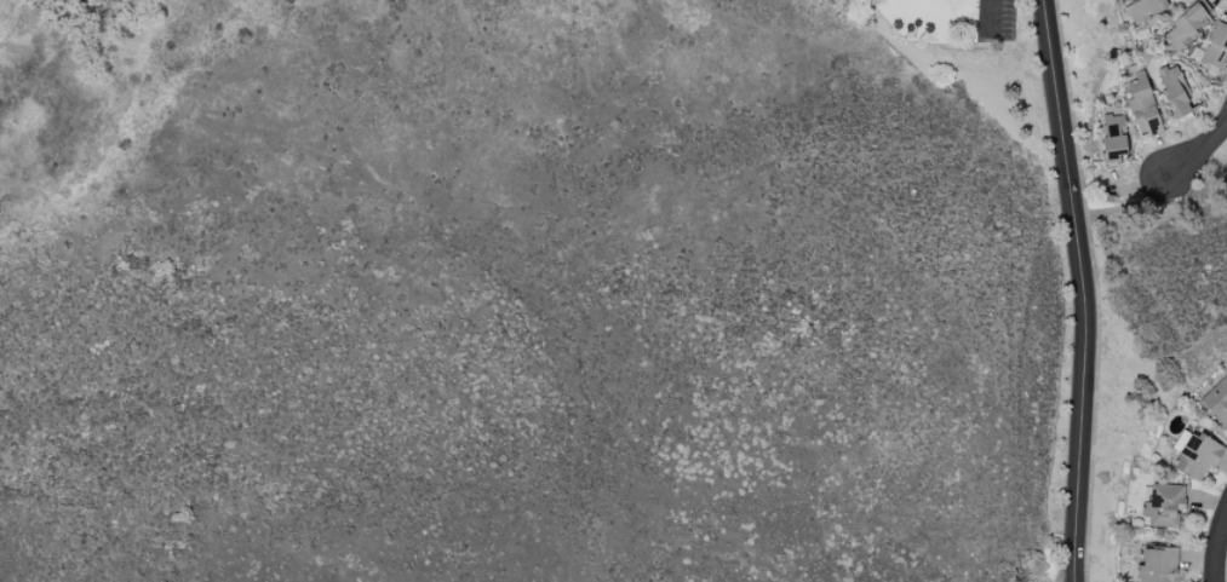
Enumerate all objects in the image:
building: (1143, 8)
road: (987, 17)
building: (1183, 29)
building: (1216, 47)
building: (1174, 91)
building: (1142, 106)
building: (1113, 139)
road: (1200, 150)
road: (1158, 191)
road: (1151, 206)
road: (1083, 289)
park: (493, 295)
building: (1217, 402)
building: (1197, 456)
building: (1164, 506)
road: (1217, 547)
building: (1157, 565)

